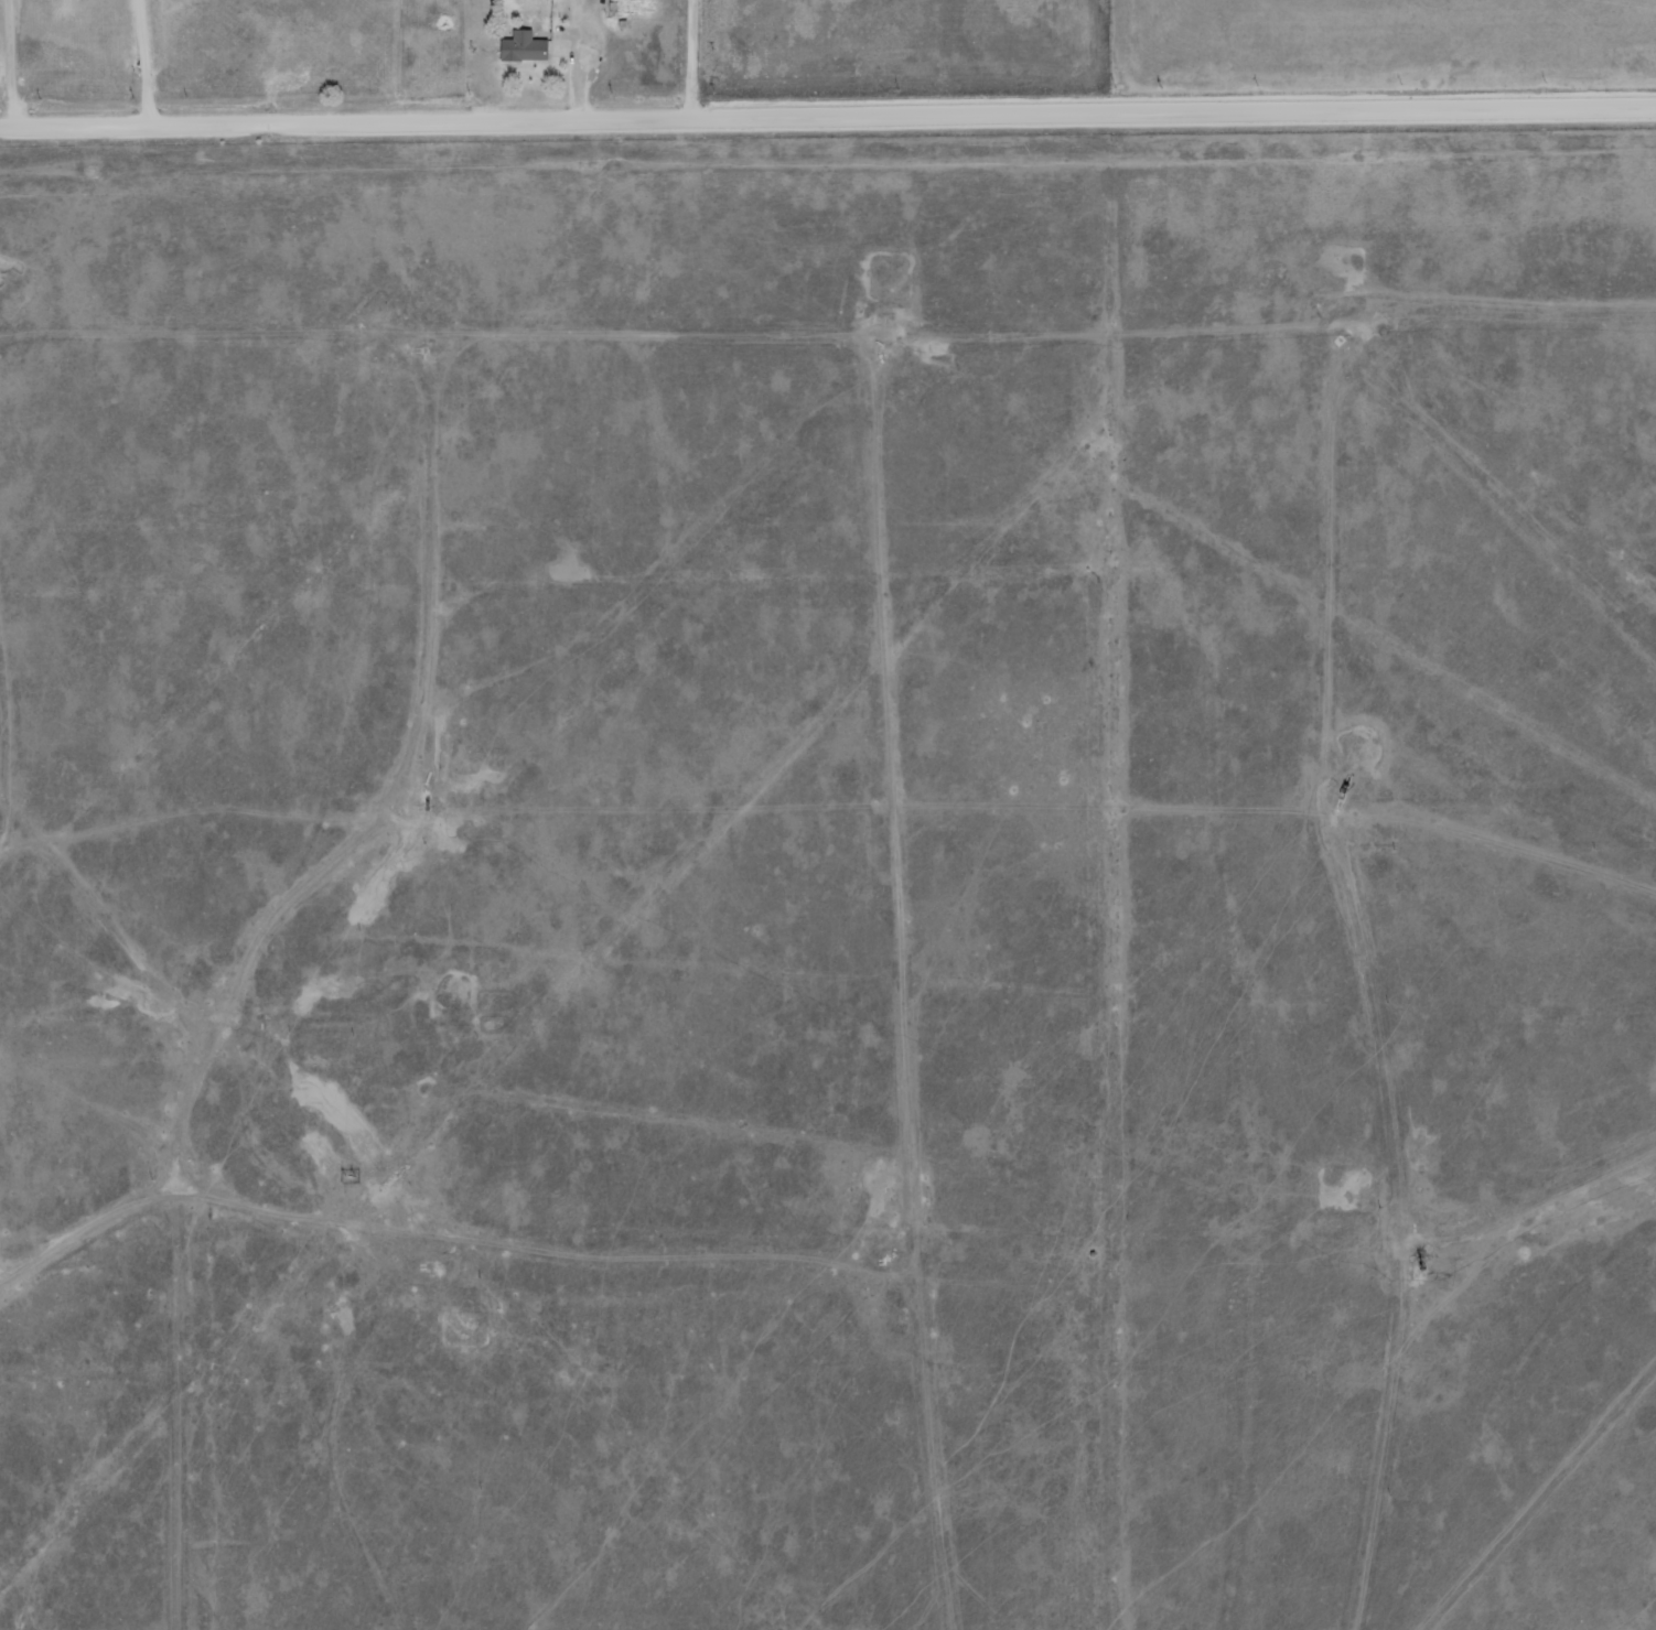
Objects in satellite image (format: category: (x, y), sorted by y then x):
building: (524, 46)
road: (827, 114)

